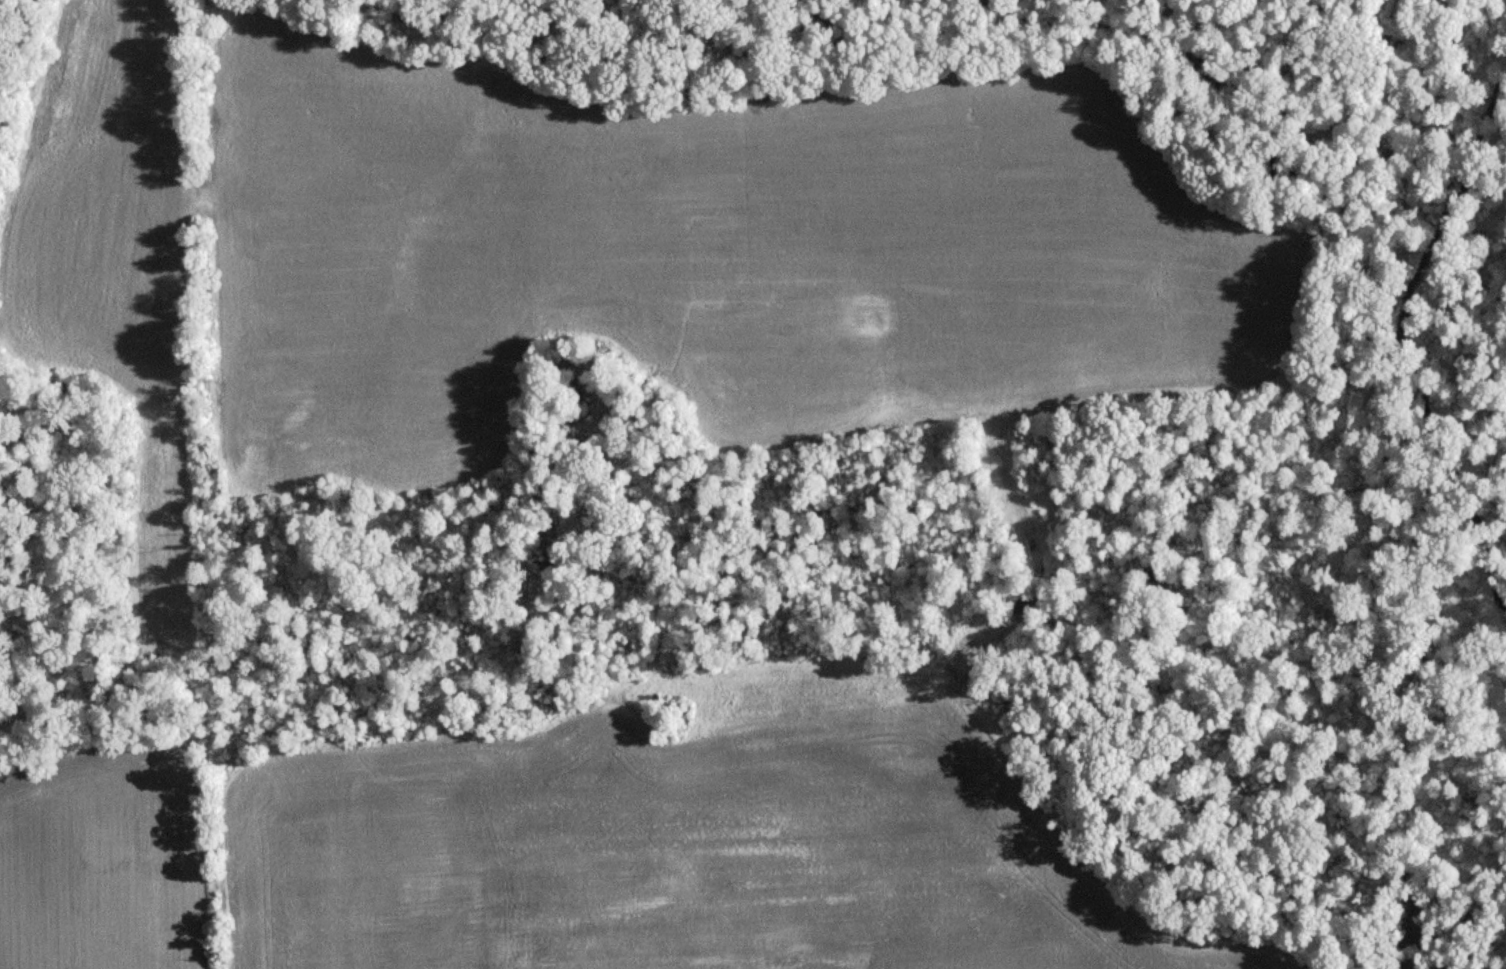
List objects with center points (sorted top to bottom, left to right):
crop: (696, 257)
crop: (109, 259)
crop: (680, 855)
crop: (89, 864)

